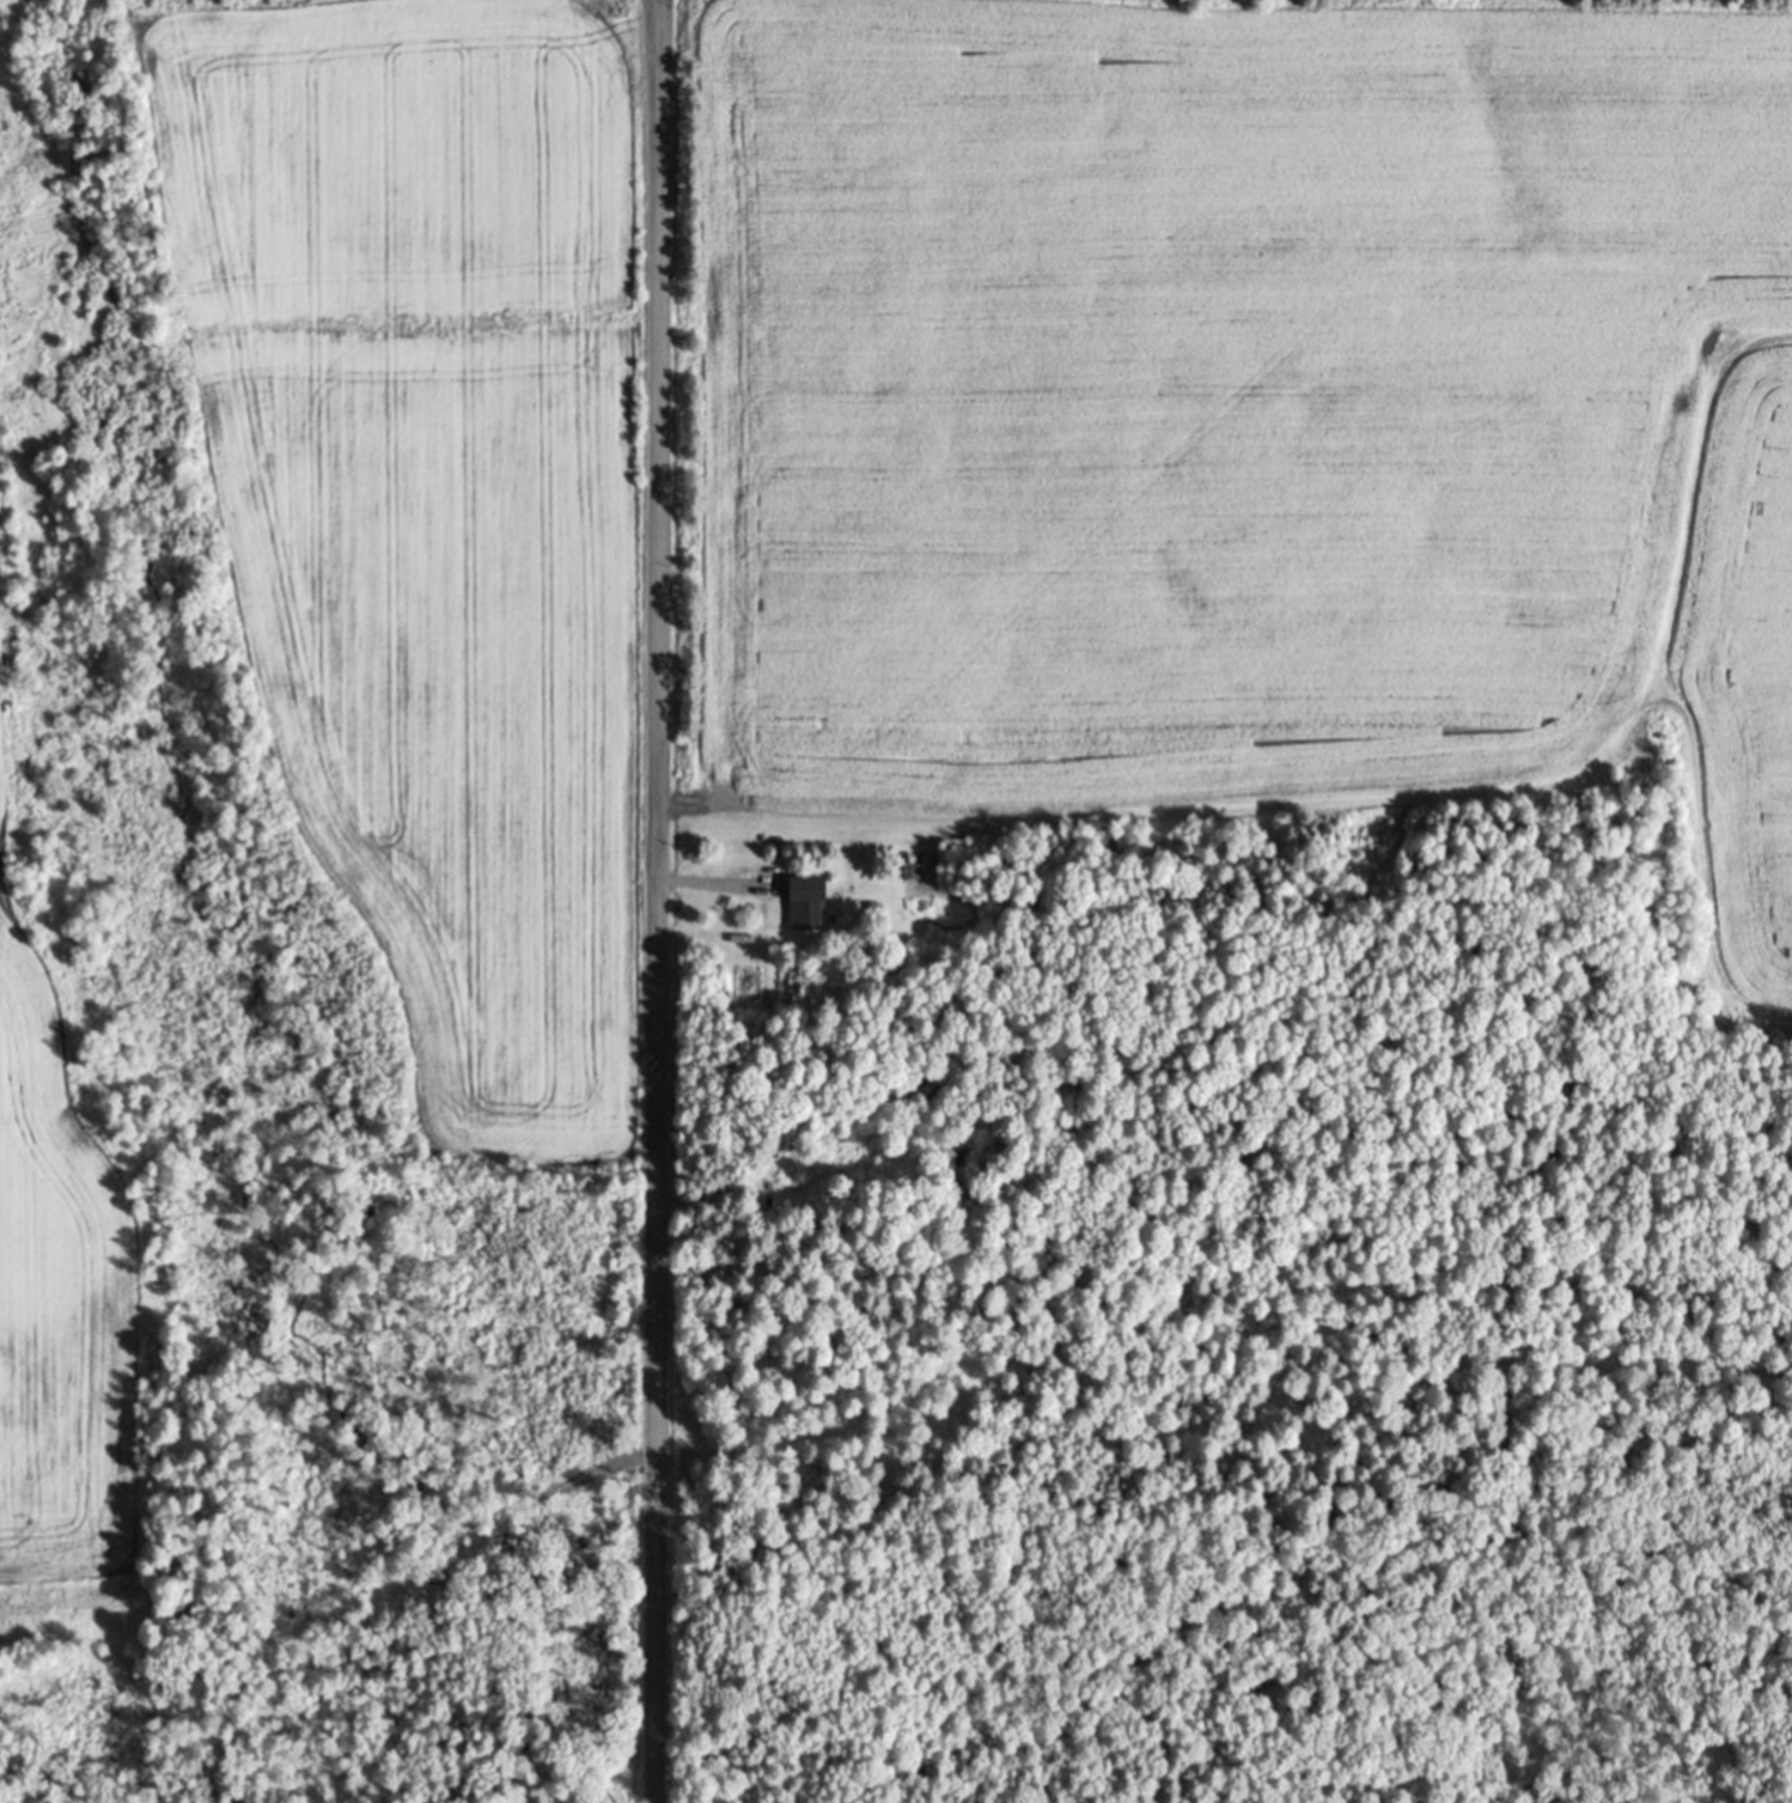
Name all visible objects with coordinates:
road: (659, 901)
building: (800, 904)
building: (745, 986)

